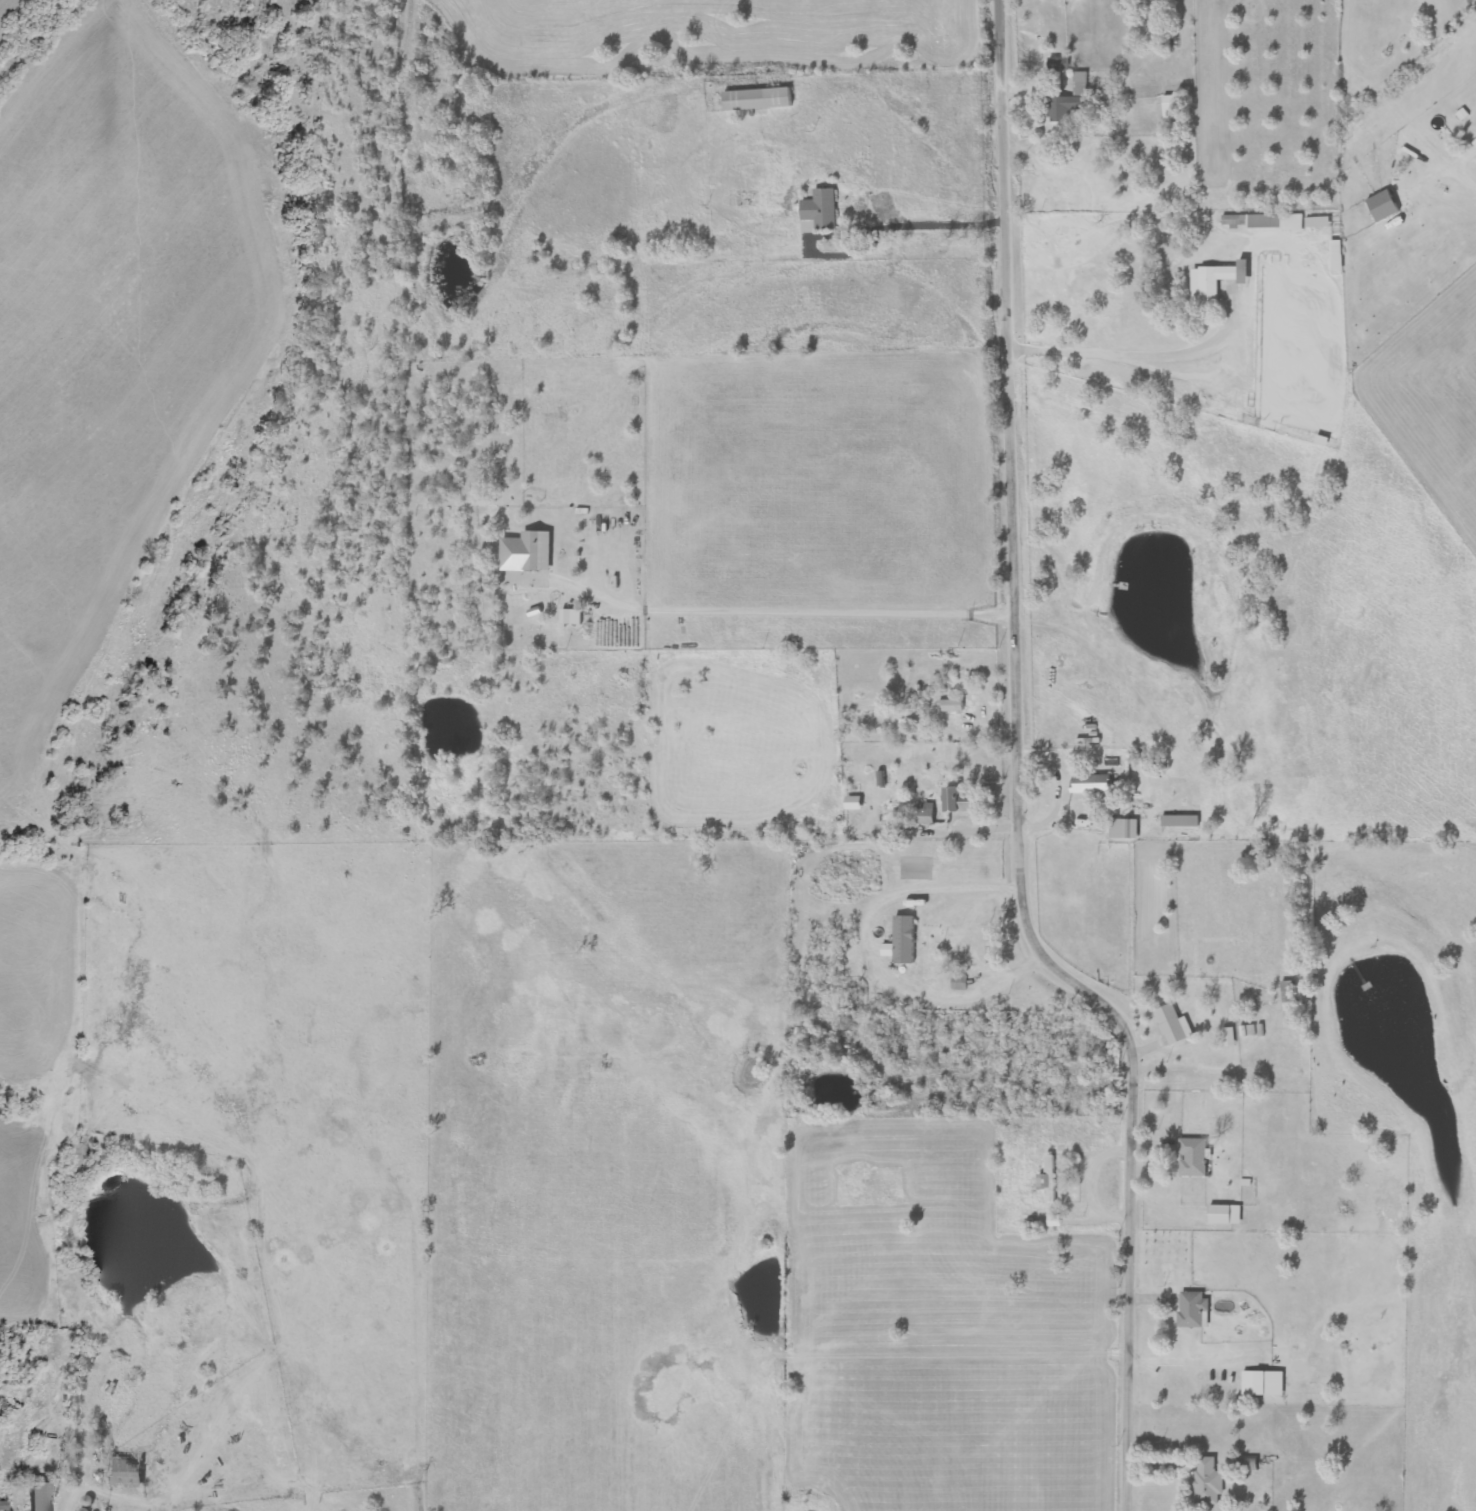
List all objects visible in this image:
building: (1057, 64)
building: (756, 99)
building: (1069, 102)
building: (1170, 107)
building: (1474, 142)
road: (1472, 184)
building: (1381, 206)
building: (817, 211)
road: (530, 215)
road: (964, 219)
building: (1261, 222)
building: (1214, 280)
road: (1160, 355)
building: (1319, 440)
building: (525, 552)
road: (783, 613)
building: (565, 616)
building: (949, 706)
road: (1014, 778)
building: (1089, 783)
building: (957, 800)
building: (852, 803)
building: (1123, 829)
building: (900, 941)
road: (871, 947)
building: (1287, 996)
building: (1169, 1025)
building: (1191, 1157)
building: (1047, 1179)
building: (1223, 1215)
building: (1191, 1309)
building: (1252, 1383)
road: (1156, 1455)
building: (1247, 1463)
building: (1204, 1480)
building: (36, 1497)
building: (3, 1506)

